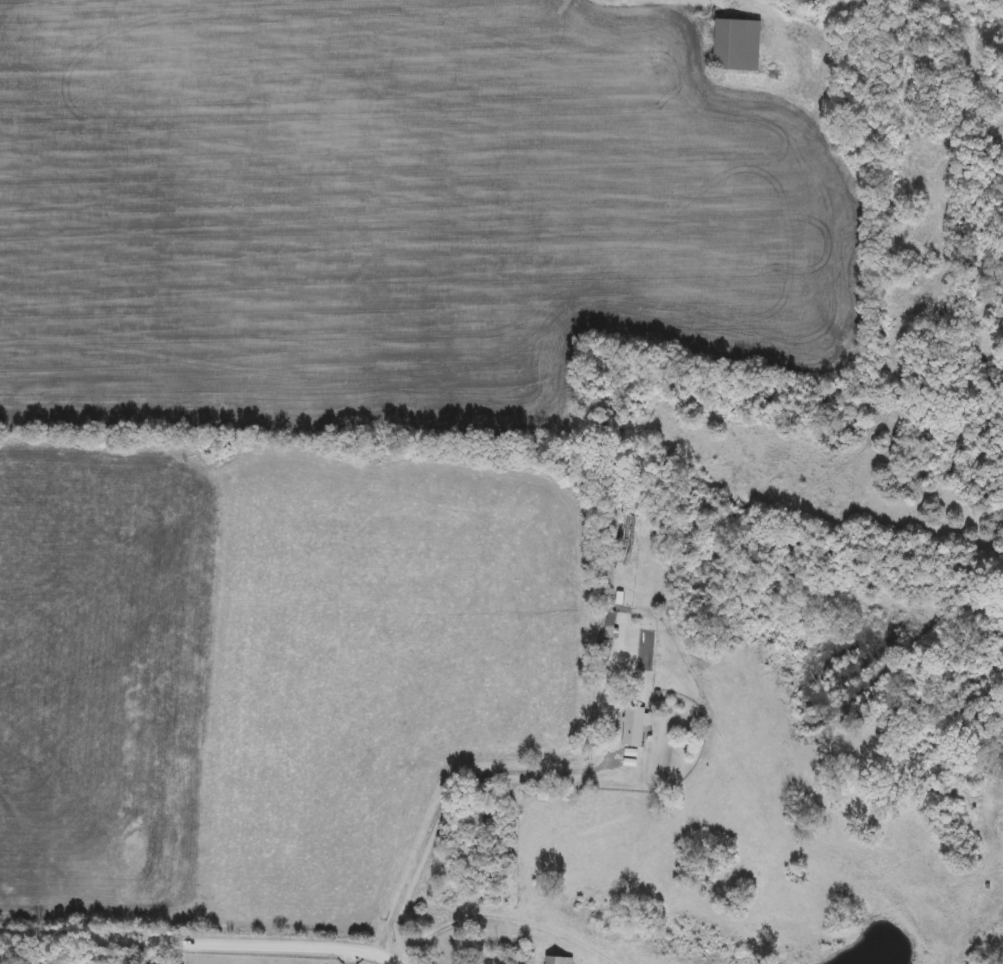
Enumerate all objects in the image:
road: (736, 3)
building: (737, 45)
building: (633, 726)
road: (451, 794)
road: (491, 915)
road: (203, 942)
road: (351, 956)
building: (558, 961)

